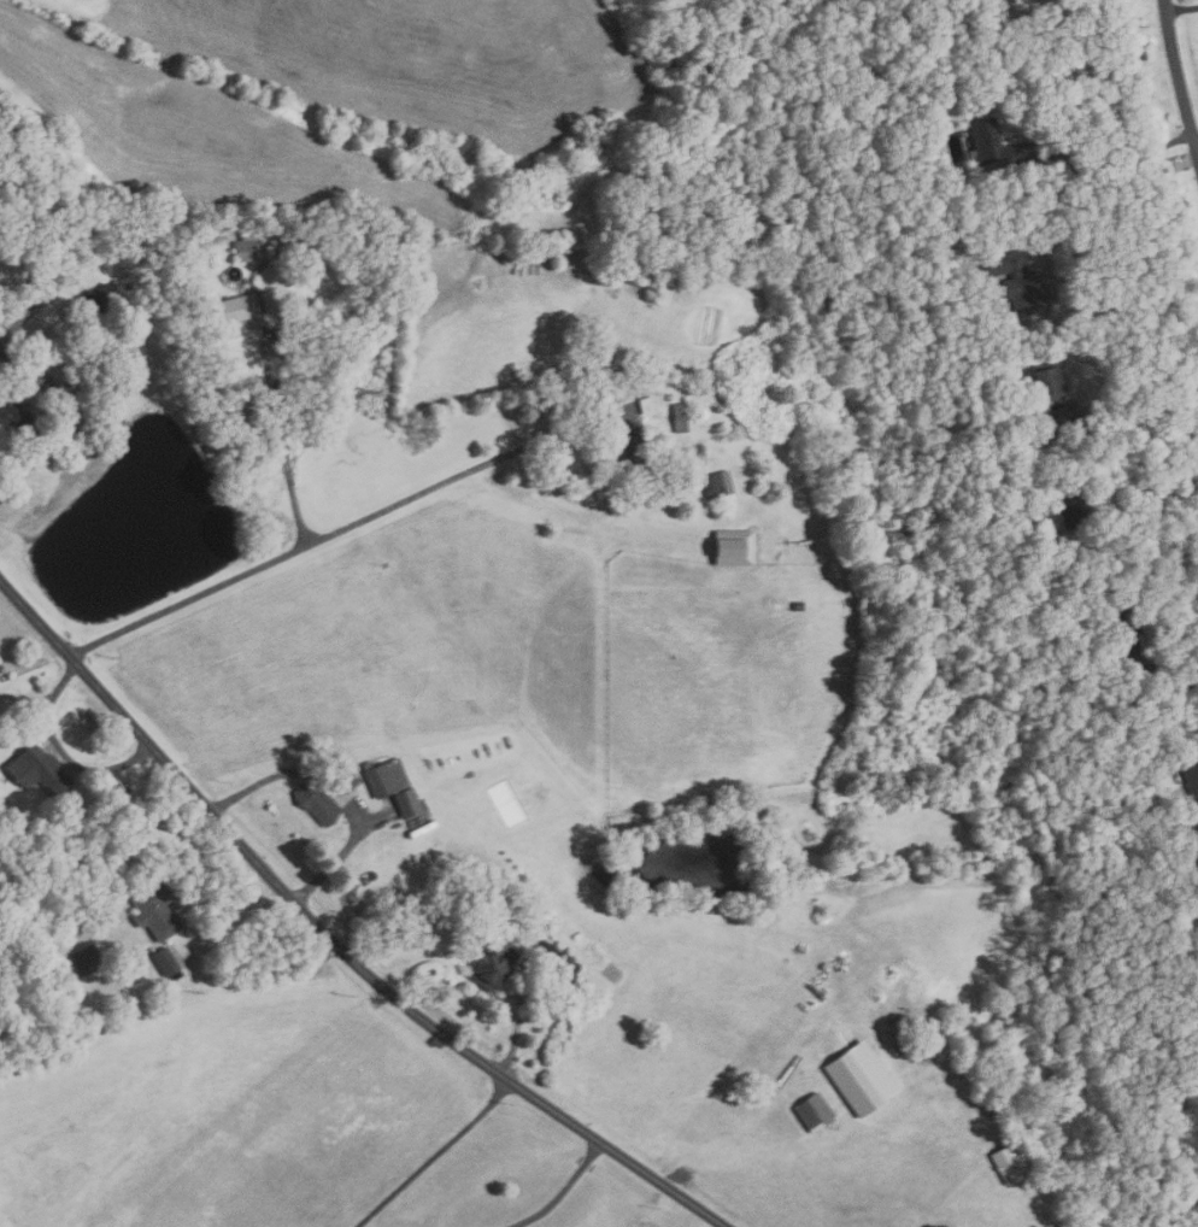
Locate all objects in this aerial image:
building: (1010, 0)
road: (1181, 7)
road: (1178, 76)
building: (1, 125)
road: (1196, 136)
building: (992, 143)
road: (1120, 159)
road: (1112, 199)
building: (991, 229)
building: (48, 233)
building: (282, 241)
building: (248, 249)
road: (61, 254)
building: (1004, 263)
building: (694, 278)
building: (654, 293)
building: (1023, 293)
building: (100, 298)
building: (239, 312)
road: (10, 330)
building: (283, 335)
building: (70, 356)
building: (86, 378)
building: (1045, 380)
building: (645, 404)
building: (16, 412)
road: (1124, 412)
road: (57, 415)
building: (680, 417)
building: (110, 418)
road: (280, 438)
road: (1128, 446)
building: (624, 448)
building: (715, 482)
building: (1069, 511)
road: (319, 538)
building: (1041, 542)
building: (1122, 632)
road: (1175, 682)
road: (64, 750)
building: (1186, 767)
building: (41, 769)
building: (383, 775)
building: (343, 777)
road: (335, 789)
building: (315, 802)
building: (404, 802)
building: (1149, 816)
building: (159, 910)
road: (233, 928)
road: (331, 940)
building: (542, 950)
building: (89, 958)
building: (169, 961)
building: (492, 962)
building: (564, 965)
road: (519, 1023)
building: (852, 1082)
building: (811, 1111)
road: (433, 1156)
building: (1011, 1162)
road: (563, 1192)

